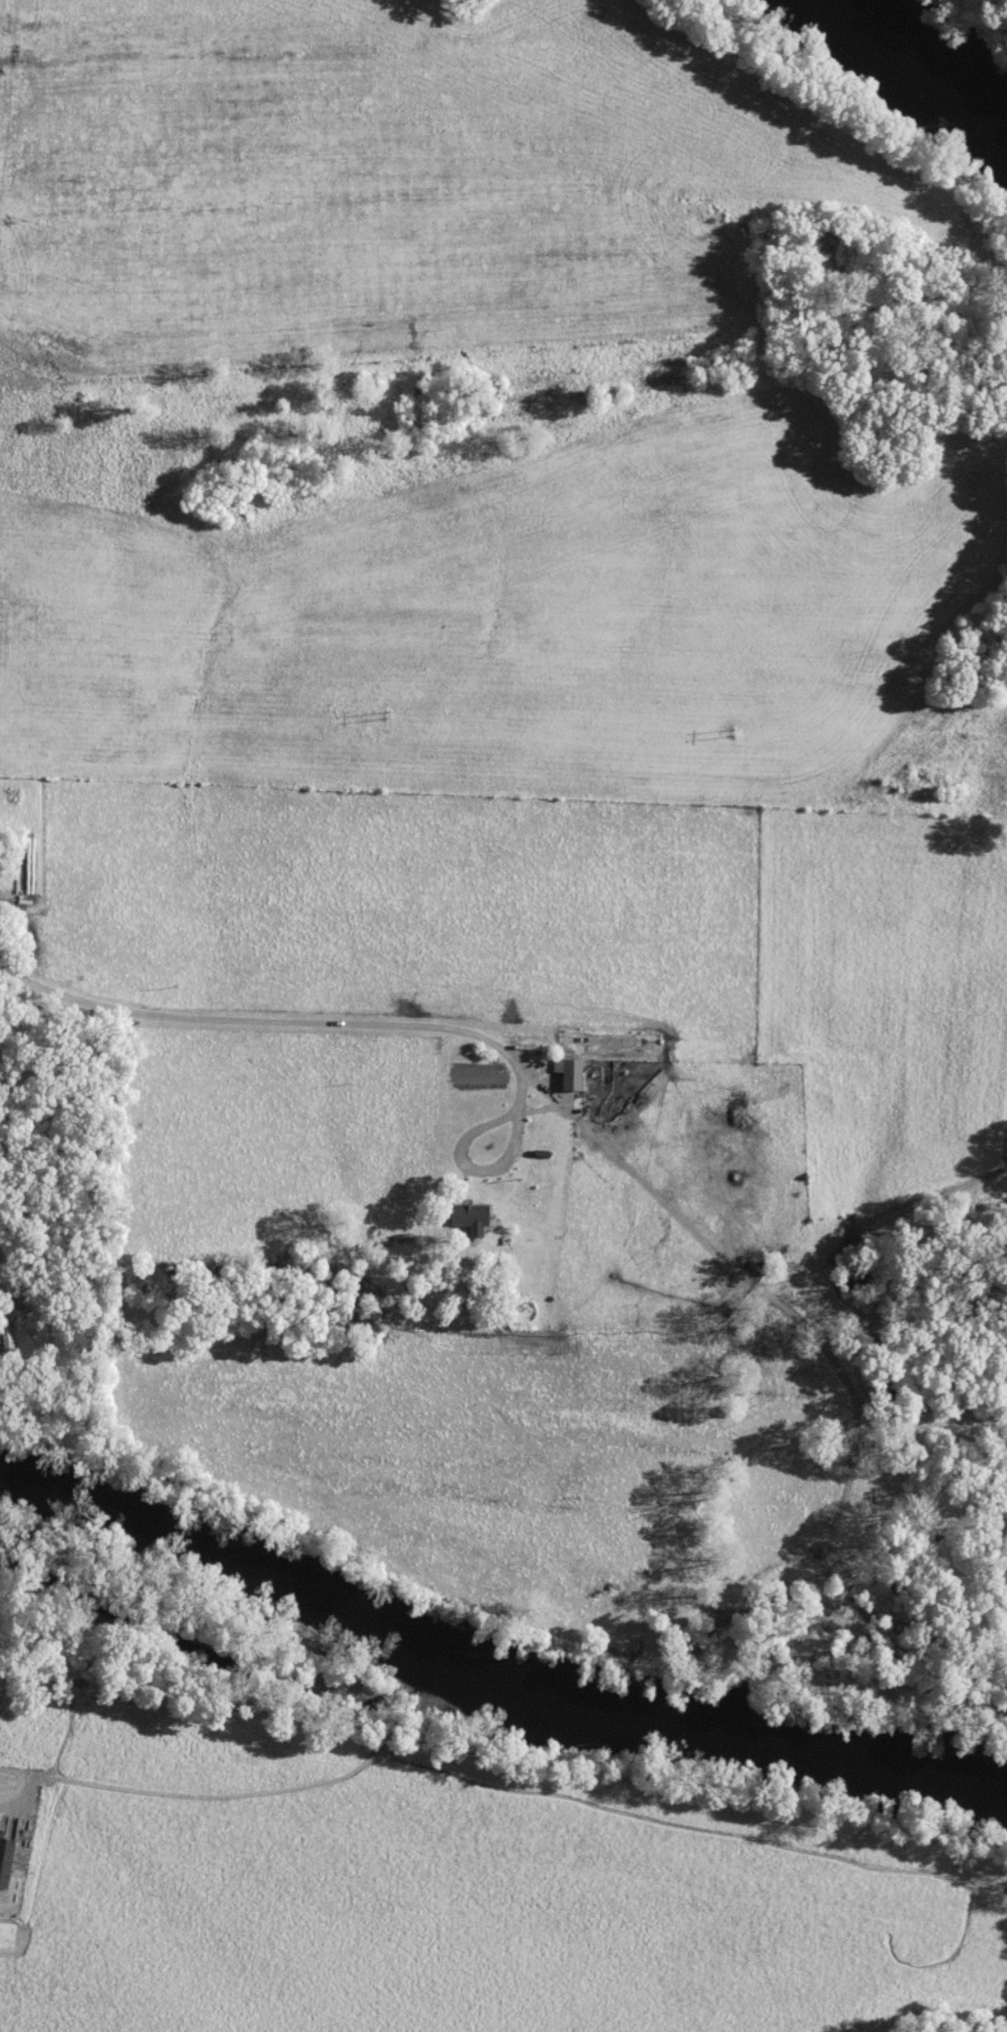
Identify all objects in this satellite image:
power tower: (381, 718)
power tower: (728, 732)
road: (279, 1017)
building: (568, 1075)
road: (468, 1161)
building: (464, 1215)
building: (3, 1333)
building: (1, 1852)

